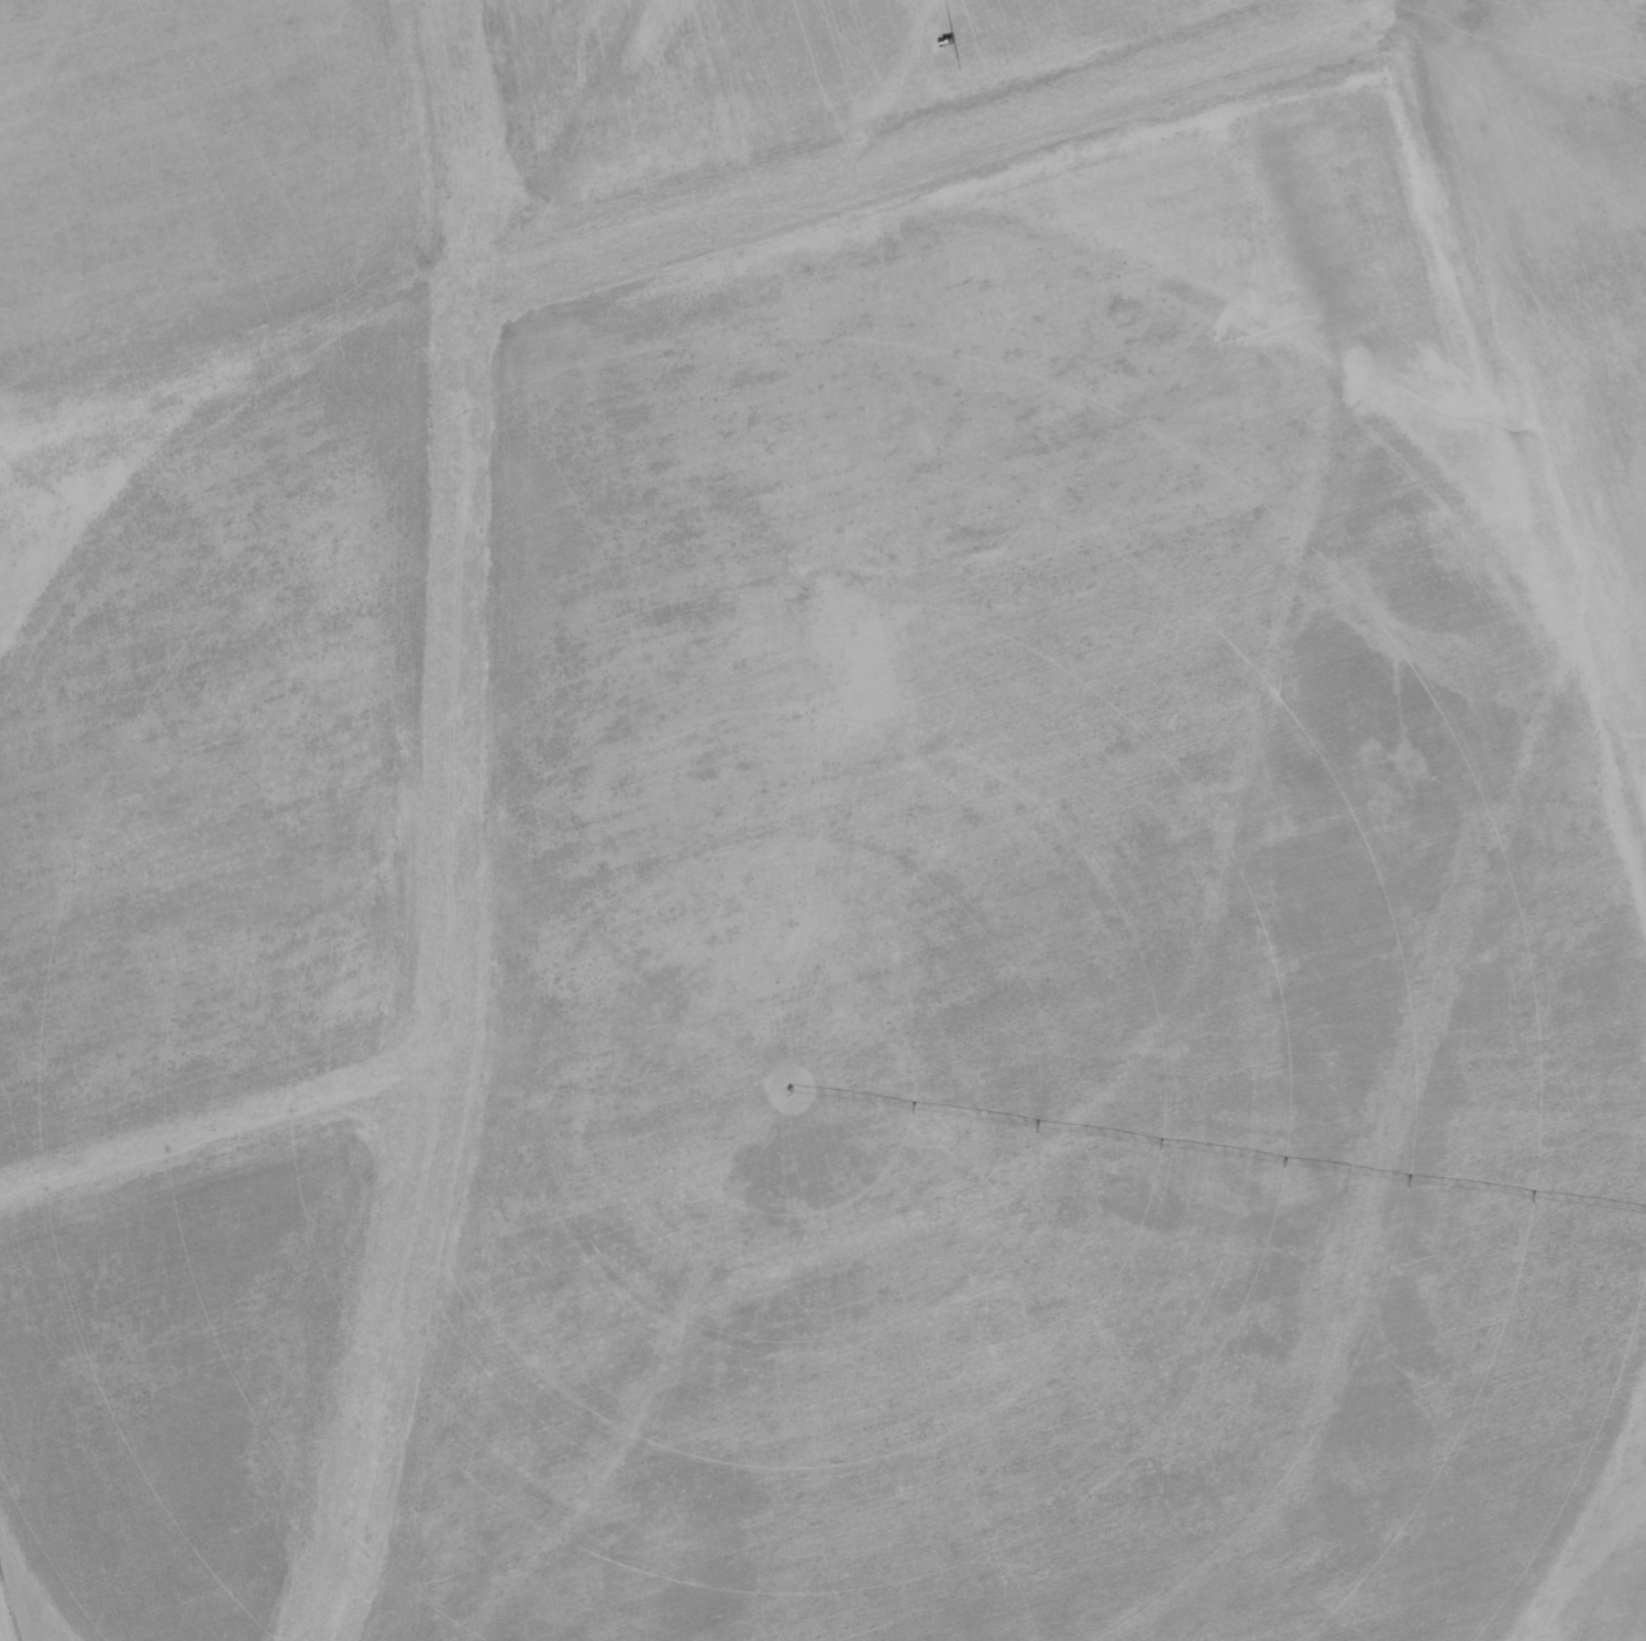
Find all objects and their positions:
road: (3, 1627)

